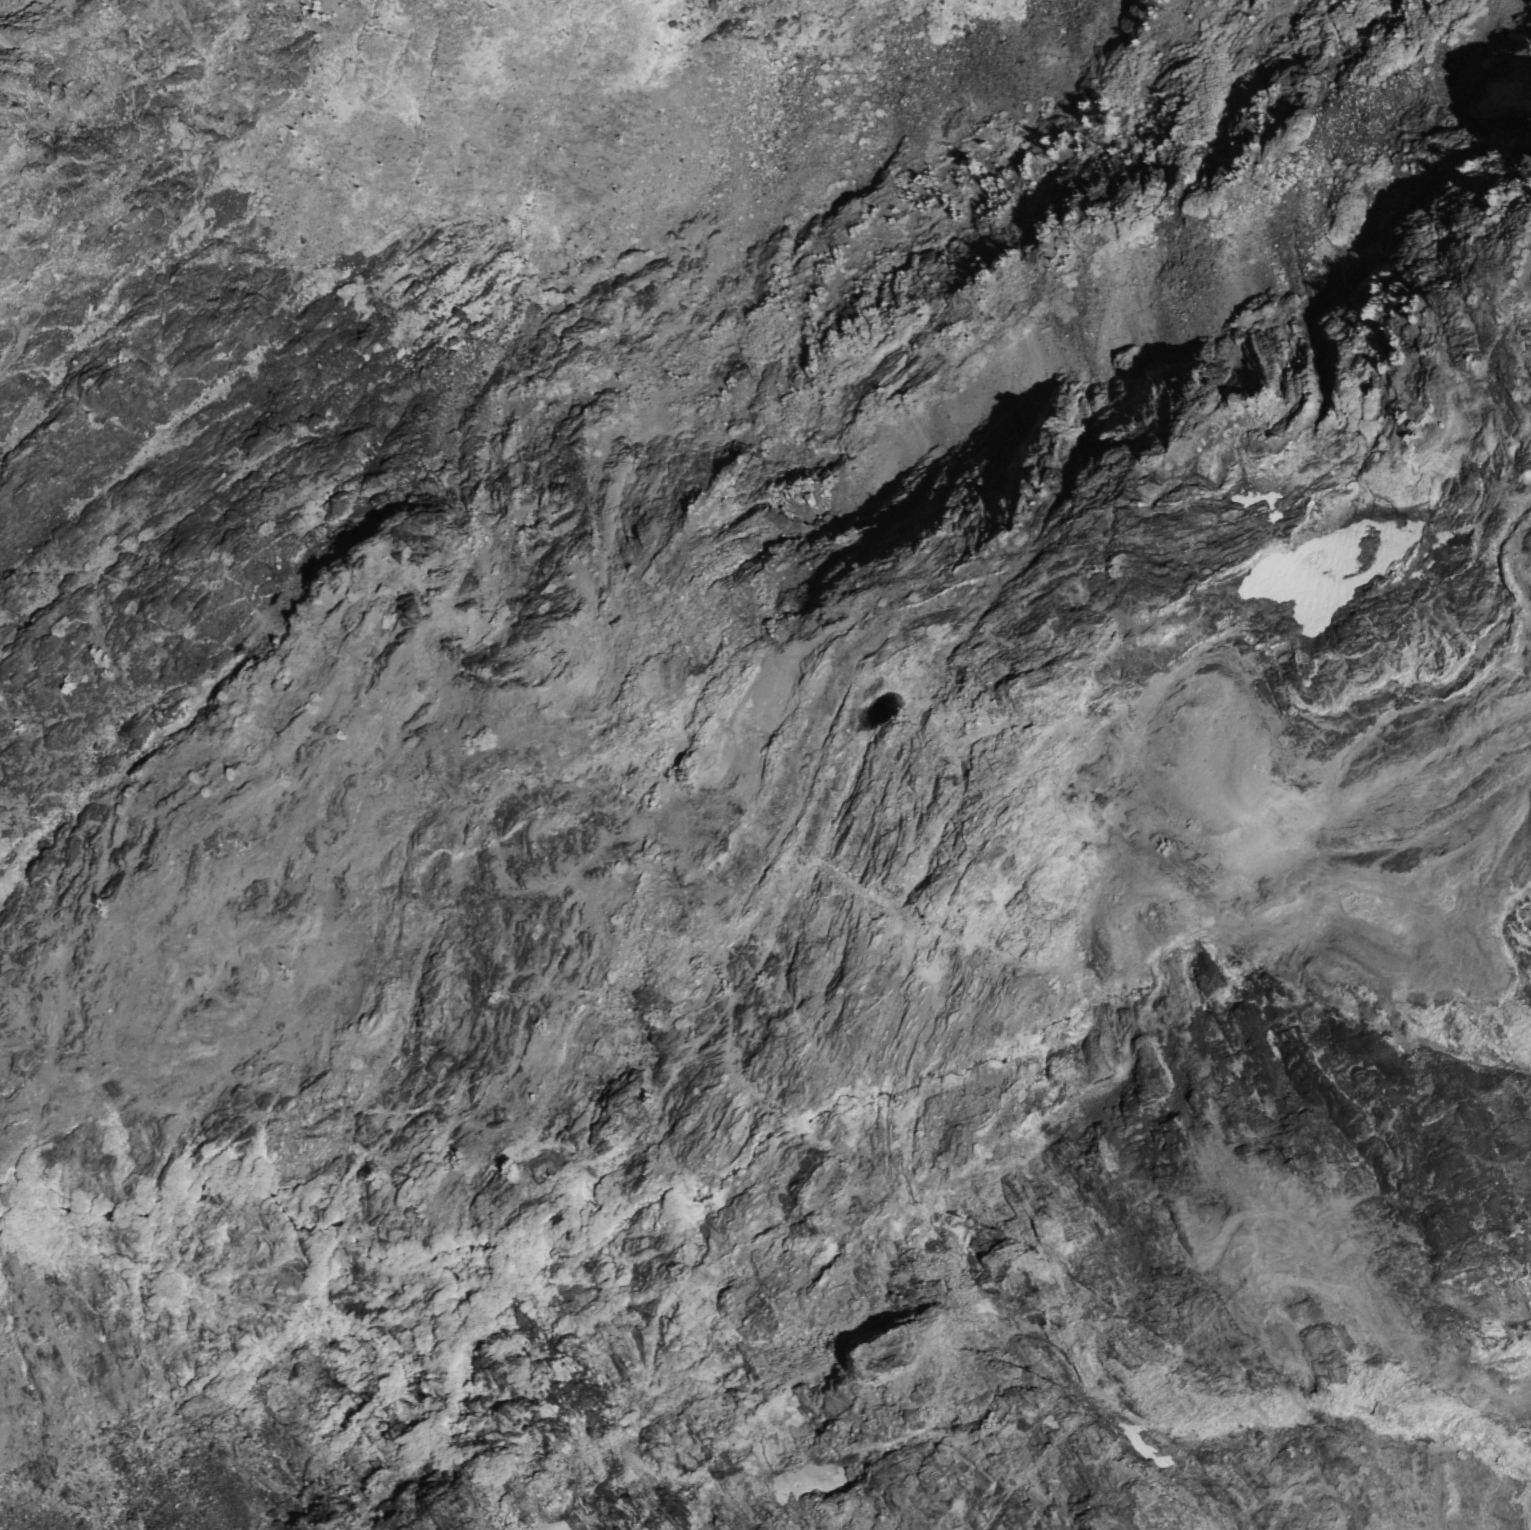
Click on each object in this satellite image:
road: (138, 467)

